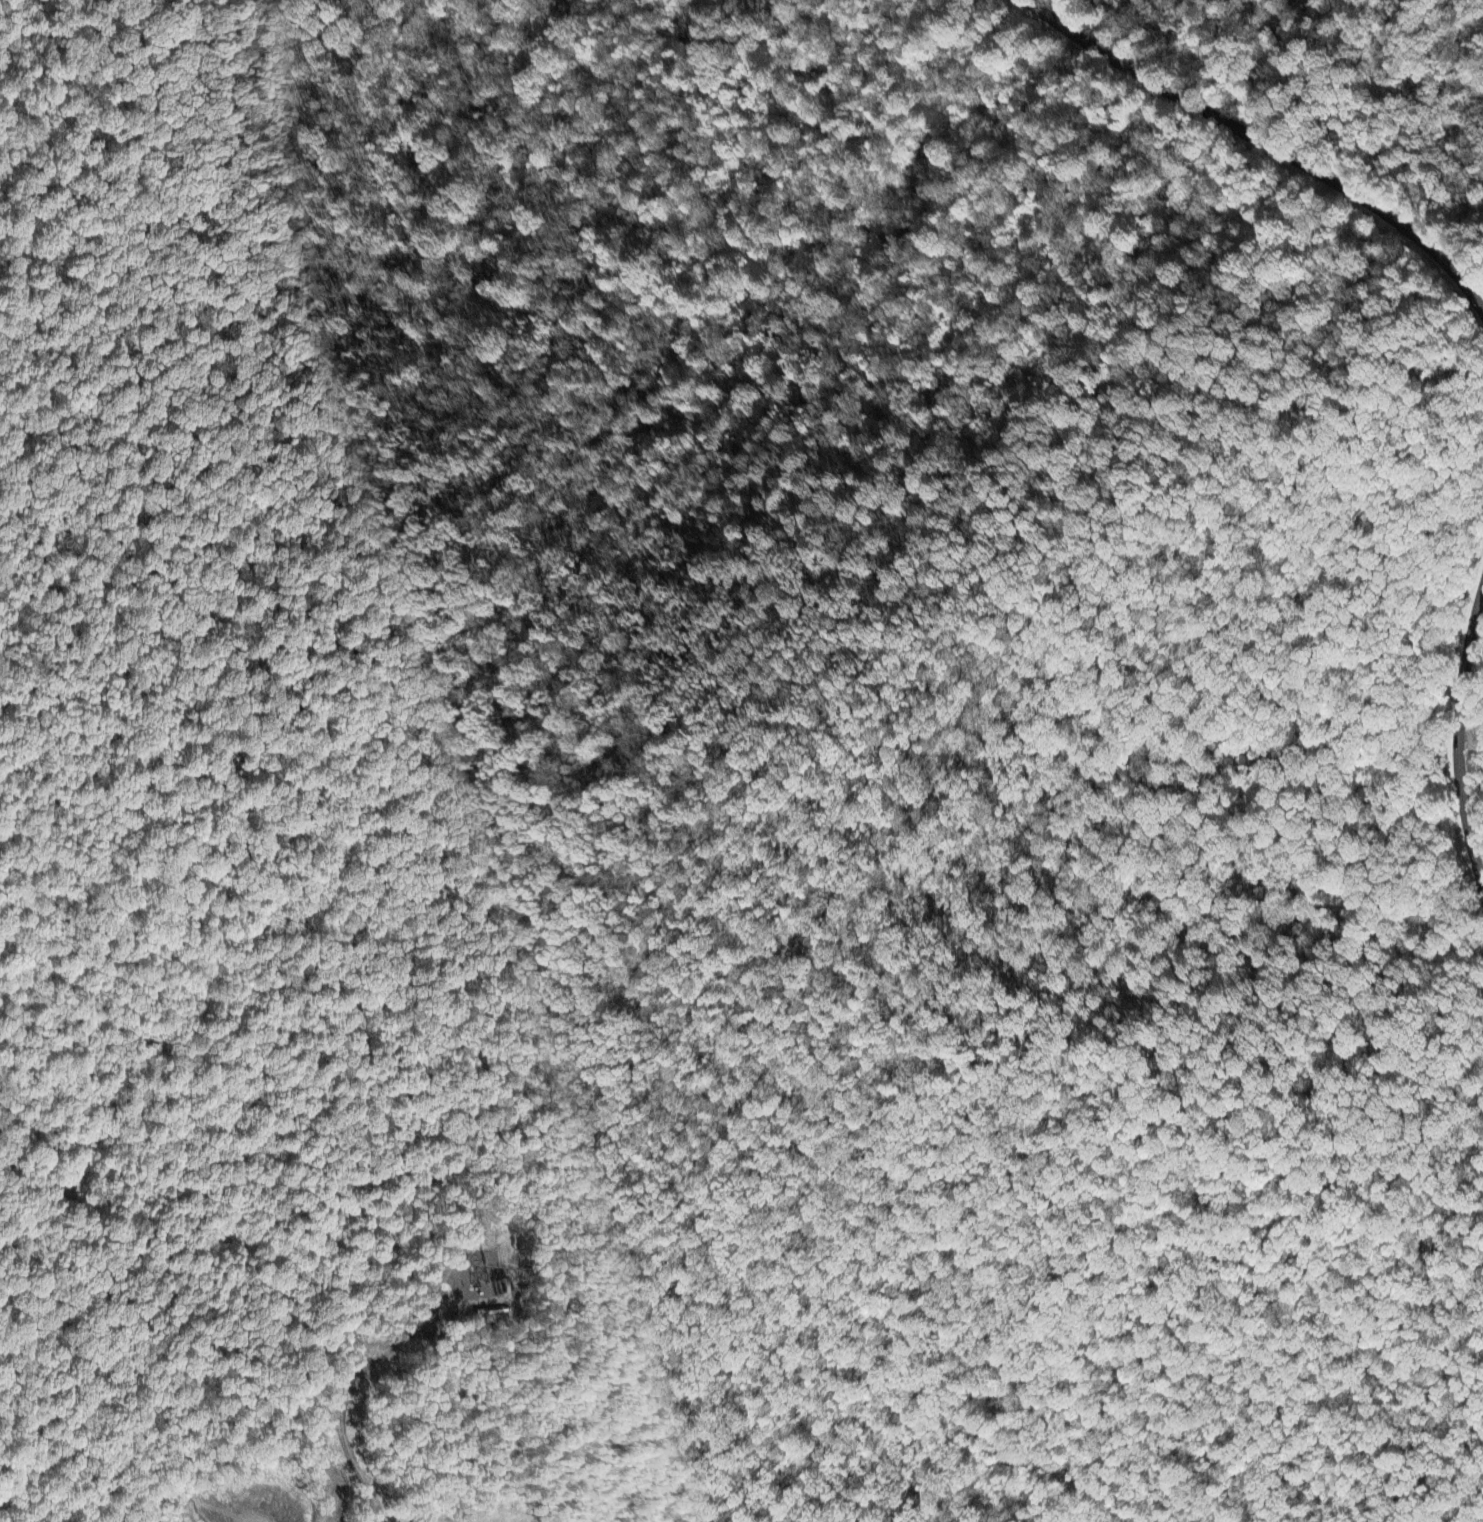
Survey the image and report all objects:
road: (1266, 143)
road: (1482, 314)
road: (1343, 546)
road: (1458, 737)

